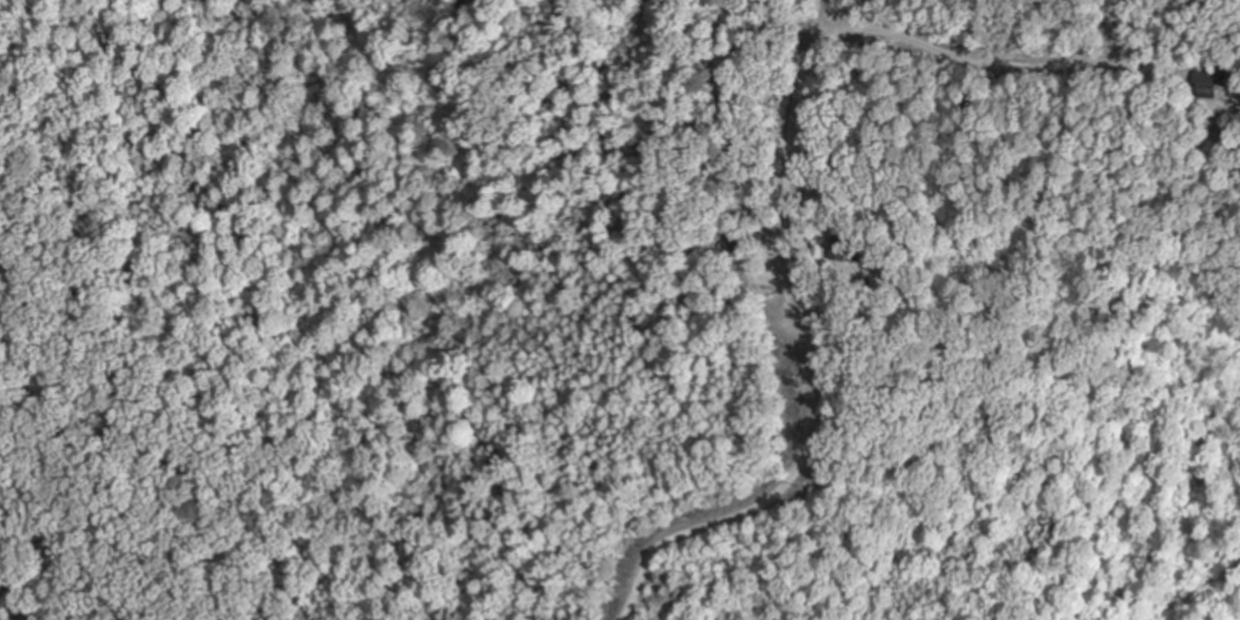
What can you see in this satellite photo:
road: (877, 33)
road: (740, 39)
road: (808, 351)
road: (9, 599)

